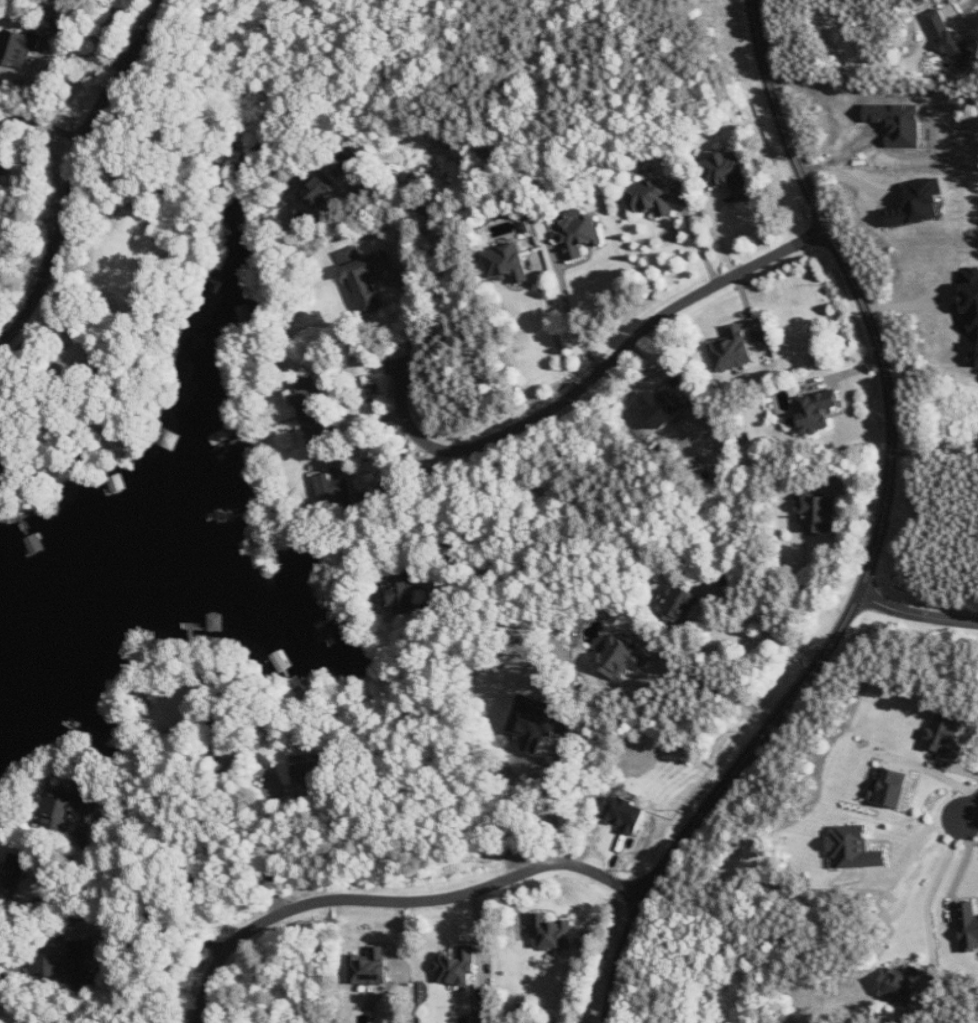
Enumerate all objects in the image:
road: (962, 22)
building: (954, 42)
building: (20, 47)
road: (77, 172)
building: (730, 175)
building: (321, 188)
building: (650, 198)
building: (918, 204)
road: (718, 231)
building: (580, 235)
road: (697, 237)
building: (350, 256)
road: (449, 259)
building: (509, 263)
building: (368, 279)
building: (971, 312)
road: (574, 324)
road: (557, 336)
building: (733, 350)
building: (74, 357)
road: (595, 372)
road: (342, 378)
building: (309, 399)
building: (662, 407)
building: (817, 410)
building: (319, 432)
building: (336, 488)
road: (457, 507)
building: (820, 514)
road: (876, 537)
building: (404, 594)
building: (678, 603)
road: (918, 612)
road: (770, 627)
building: (621, 658)
road: (719, 684)
building: (535, 718)
building: (946, 736)
building: (312, 768)
building: (893, 788)
building: (64, 806)
road: (970, 807)
road: (563, 811)
building: (627, 814)
road: (84, 838)
road: (914, 842)
building: (854, 849)
road: (270, 862)
road: (964, 868)
building: (16, 877)
road: (935, 887)
road: (99, 899)
road: (394, 905)
building: (969, 924)
road: (185, 932)
building: (554, 933)
building: (73, 962)
building: (458, 966)
building: (371, 967)
building: (903, 984)

